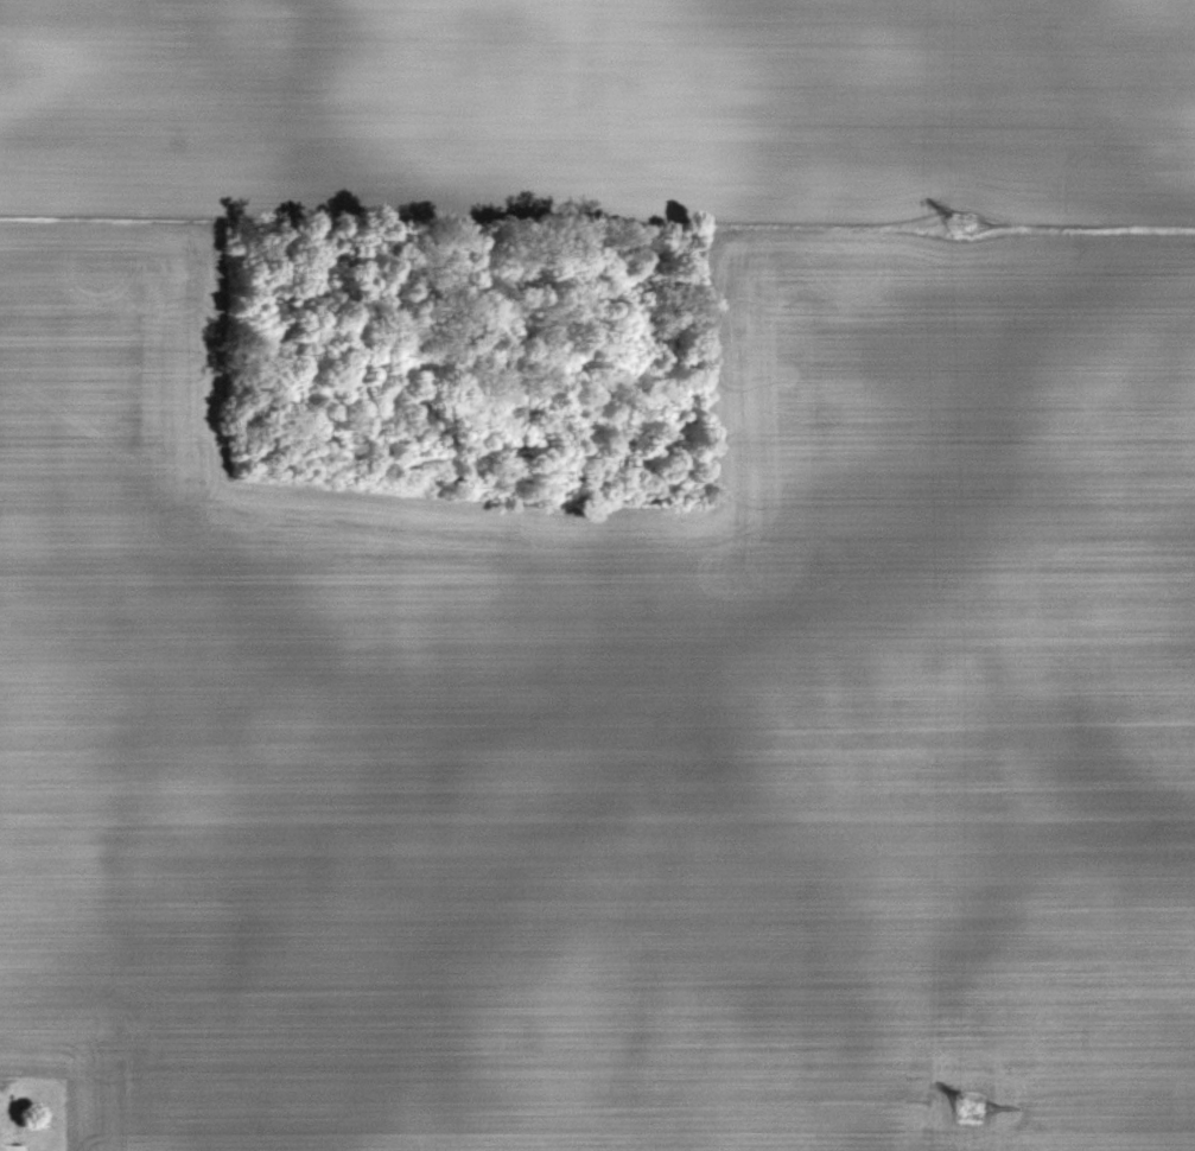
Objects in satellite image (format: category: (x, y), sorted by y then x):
power tower: (952, 223)
power tower: (961, 1109)
building: (8, 1147)

